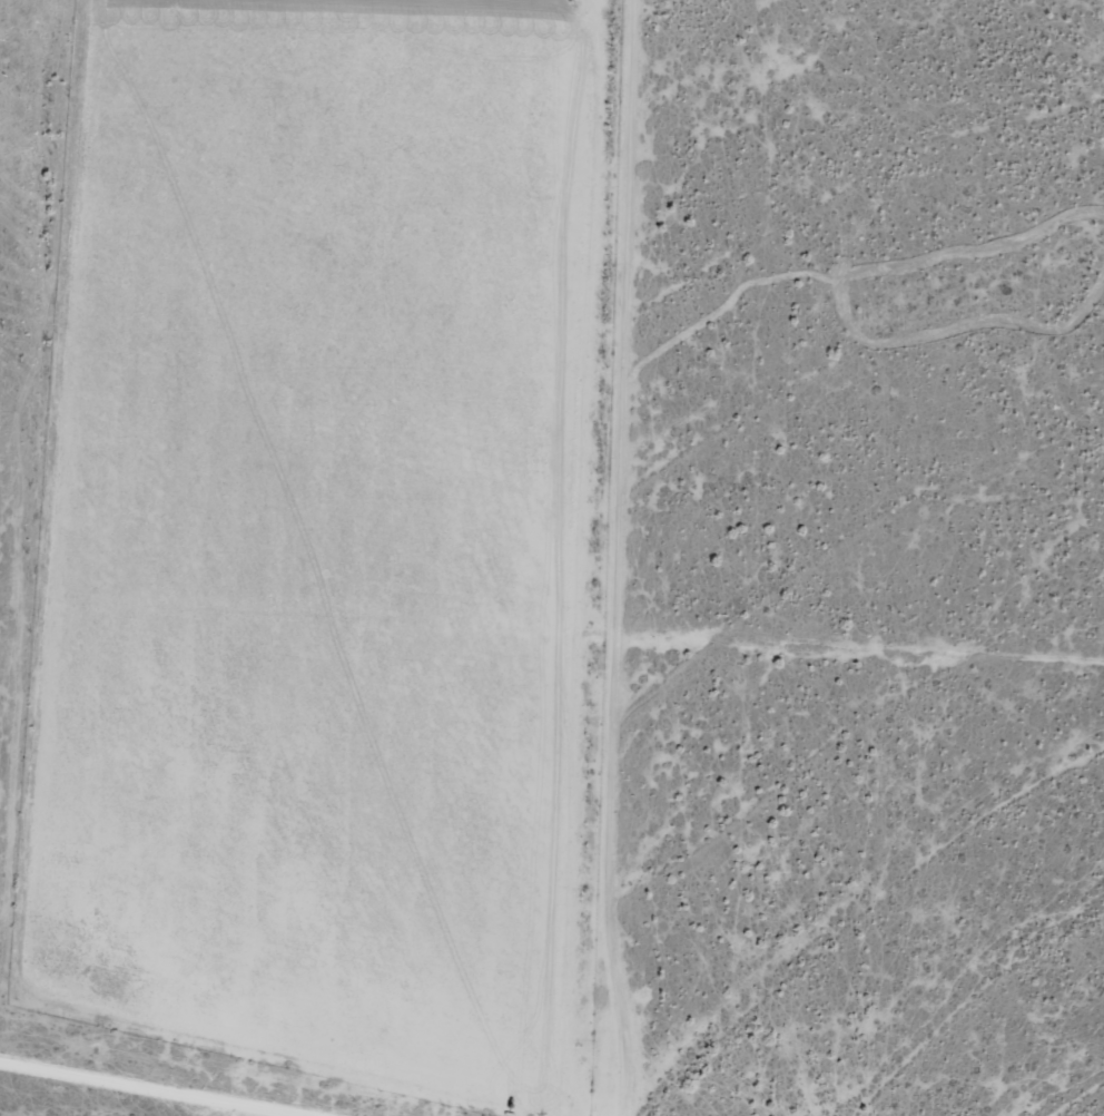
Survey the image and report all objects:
road: (152, 1083)

